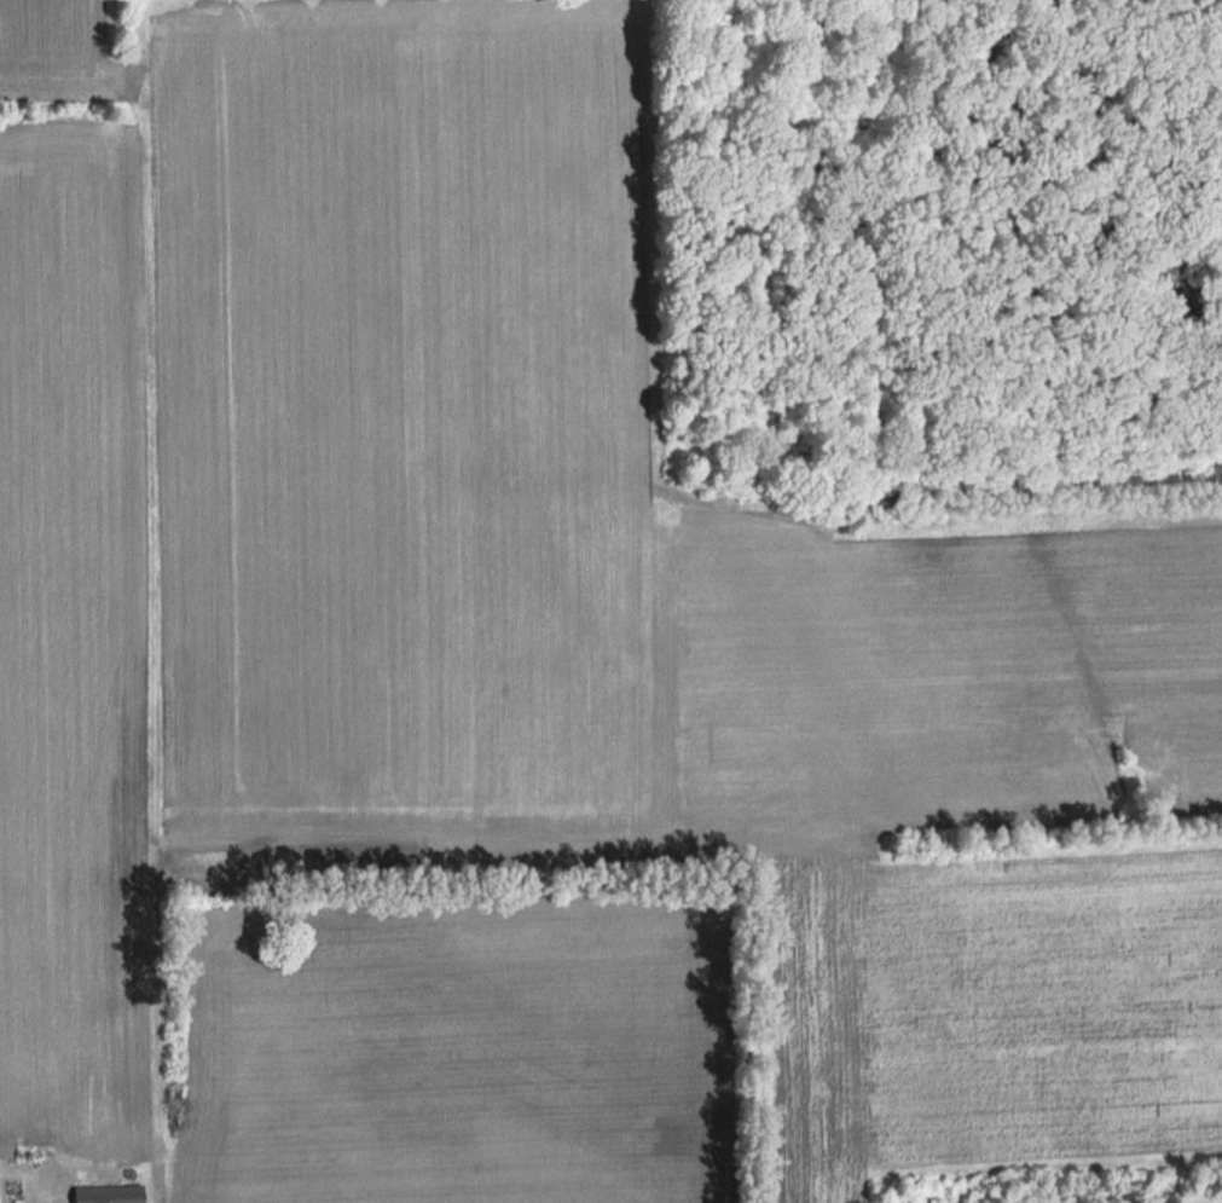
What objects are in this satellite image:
crop: (54, 50)
crop: (543, 608)
crop: (451, 1055)
building: (105, 1195)

